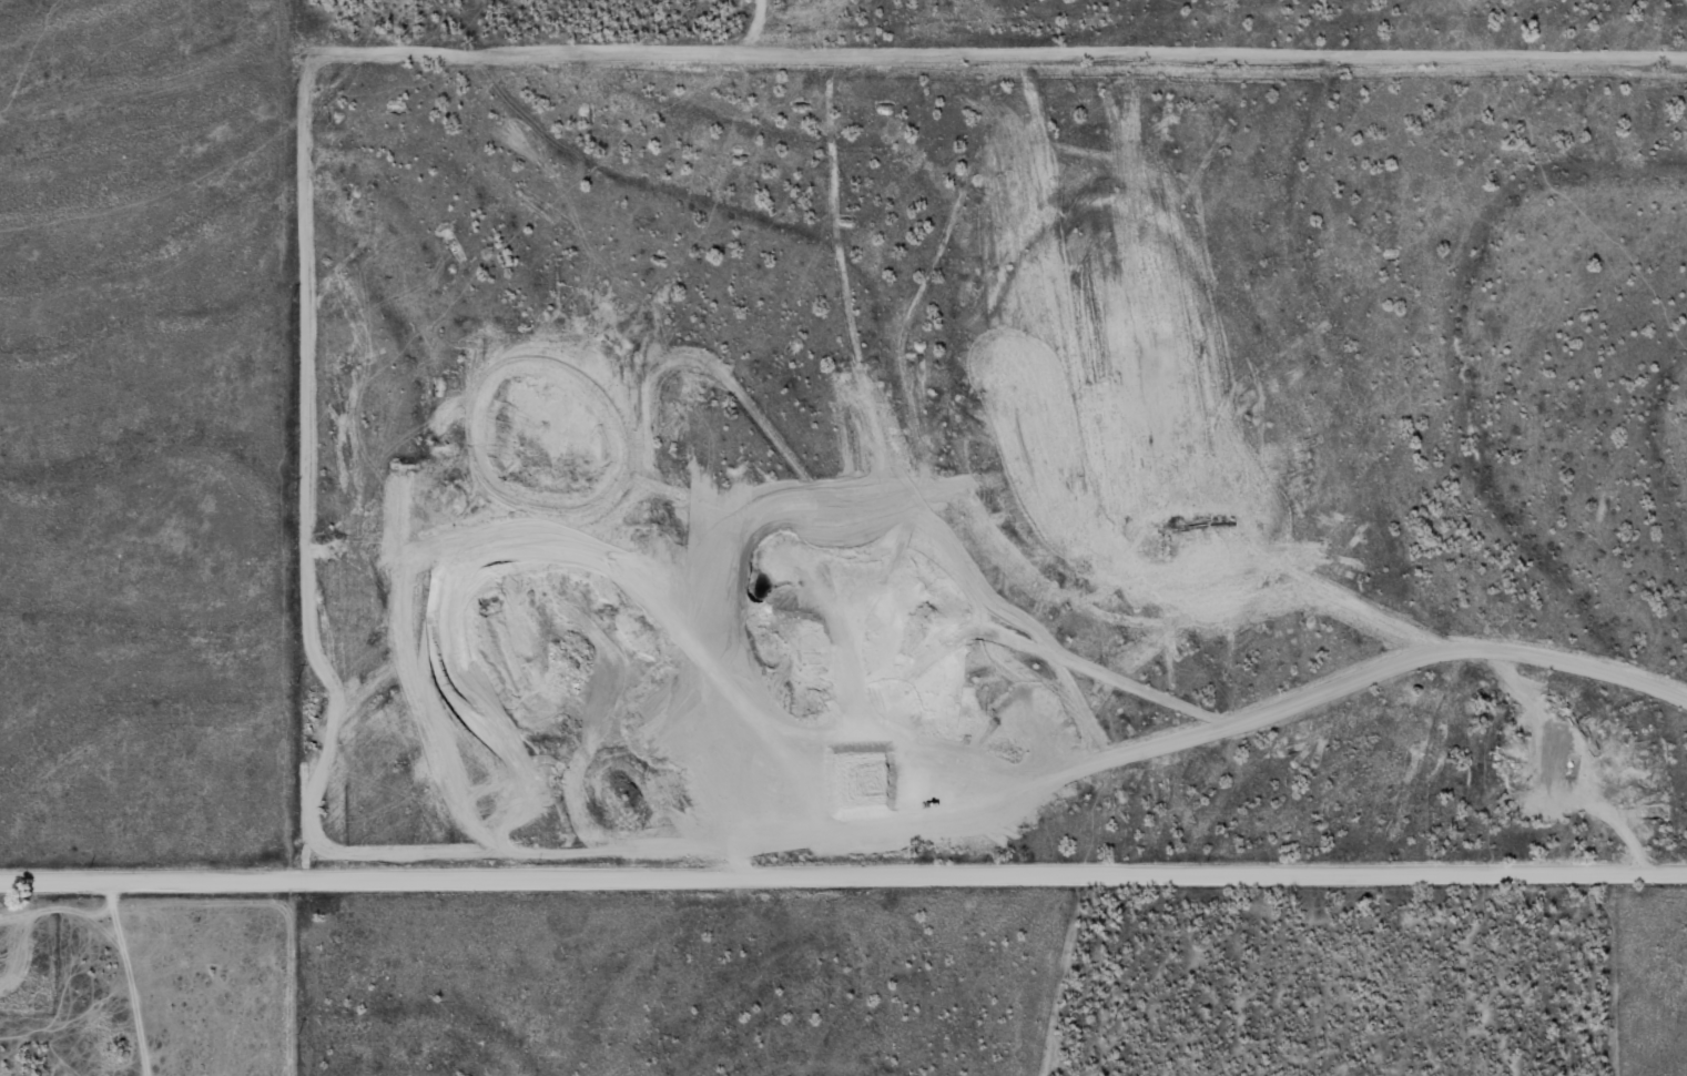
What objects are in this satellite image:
road: (843, 872)
road: (104, 996)

